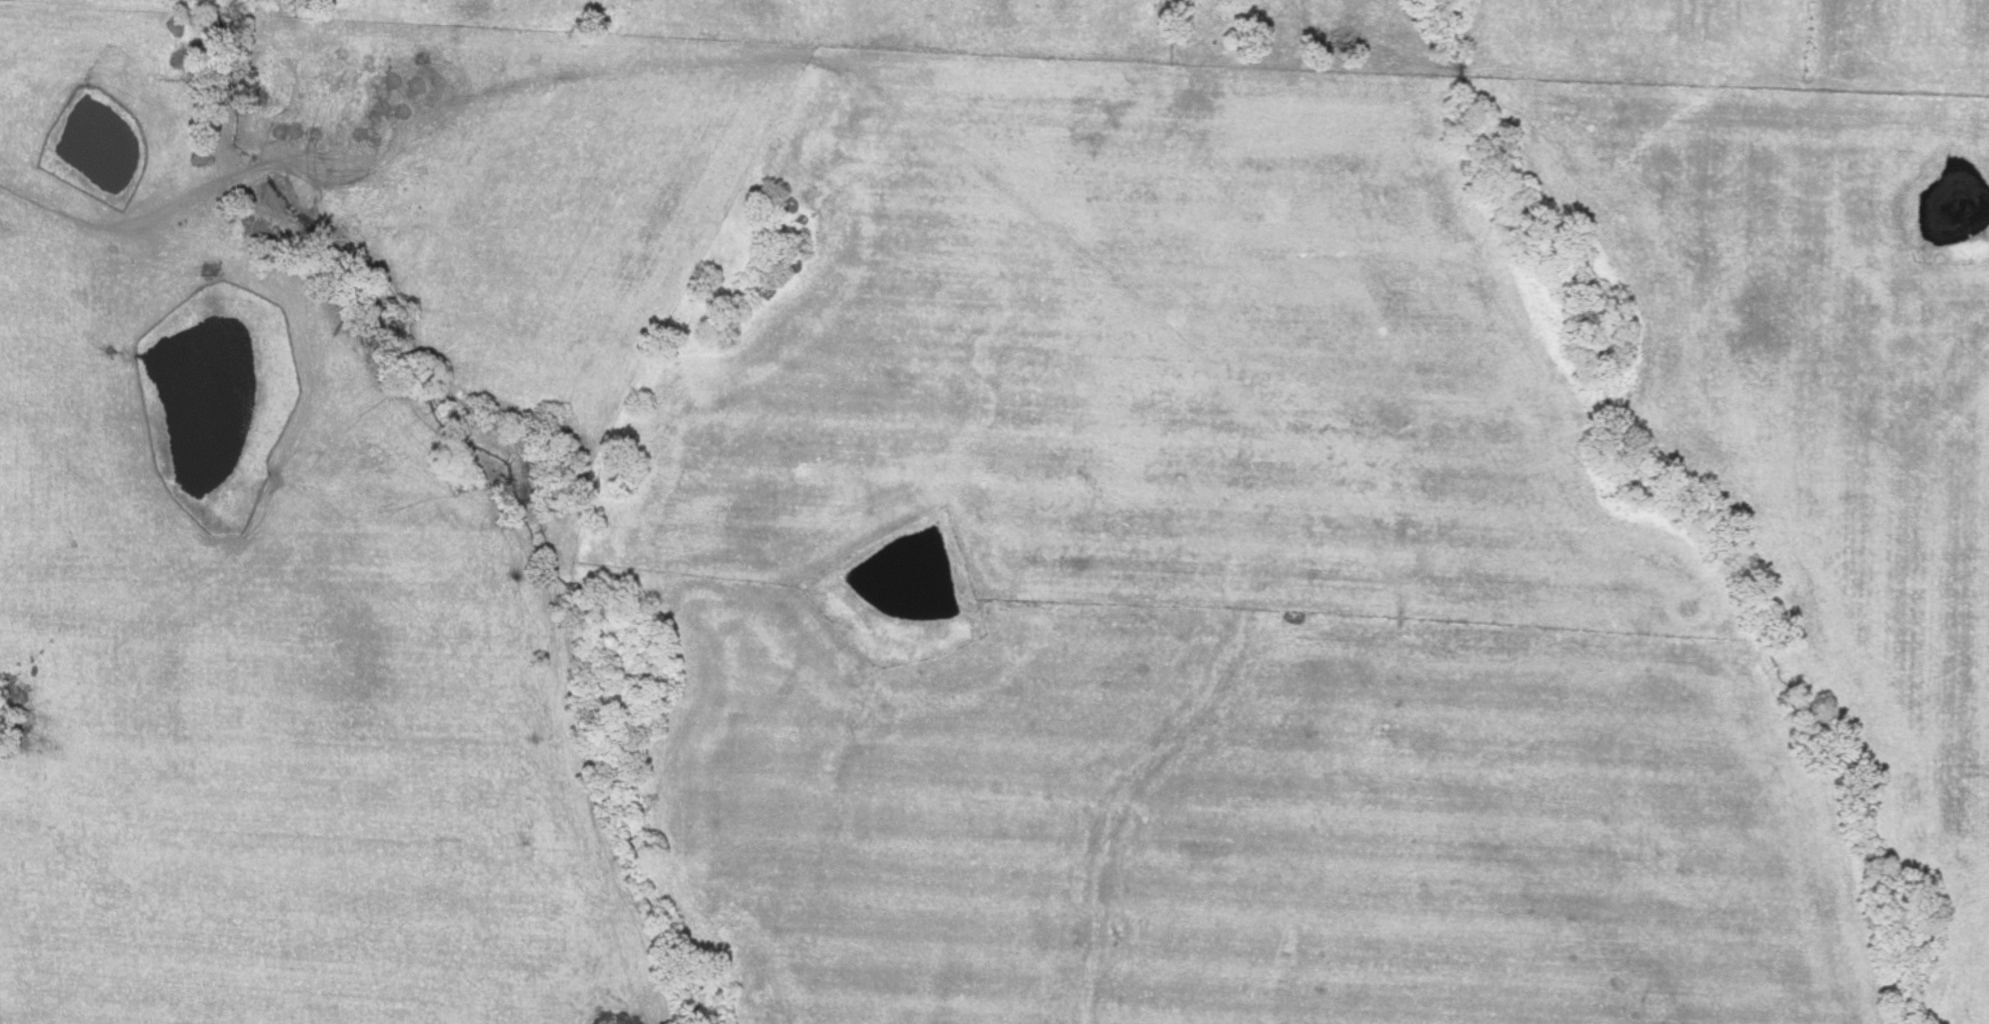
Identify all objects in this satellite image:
road: (394, 112)

